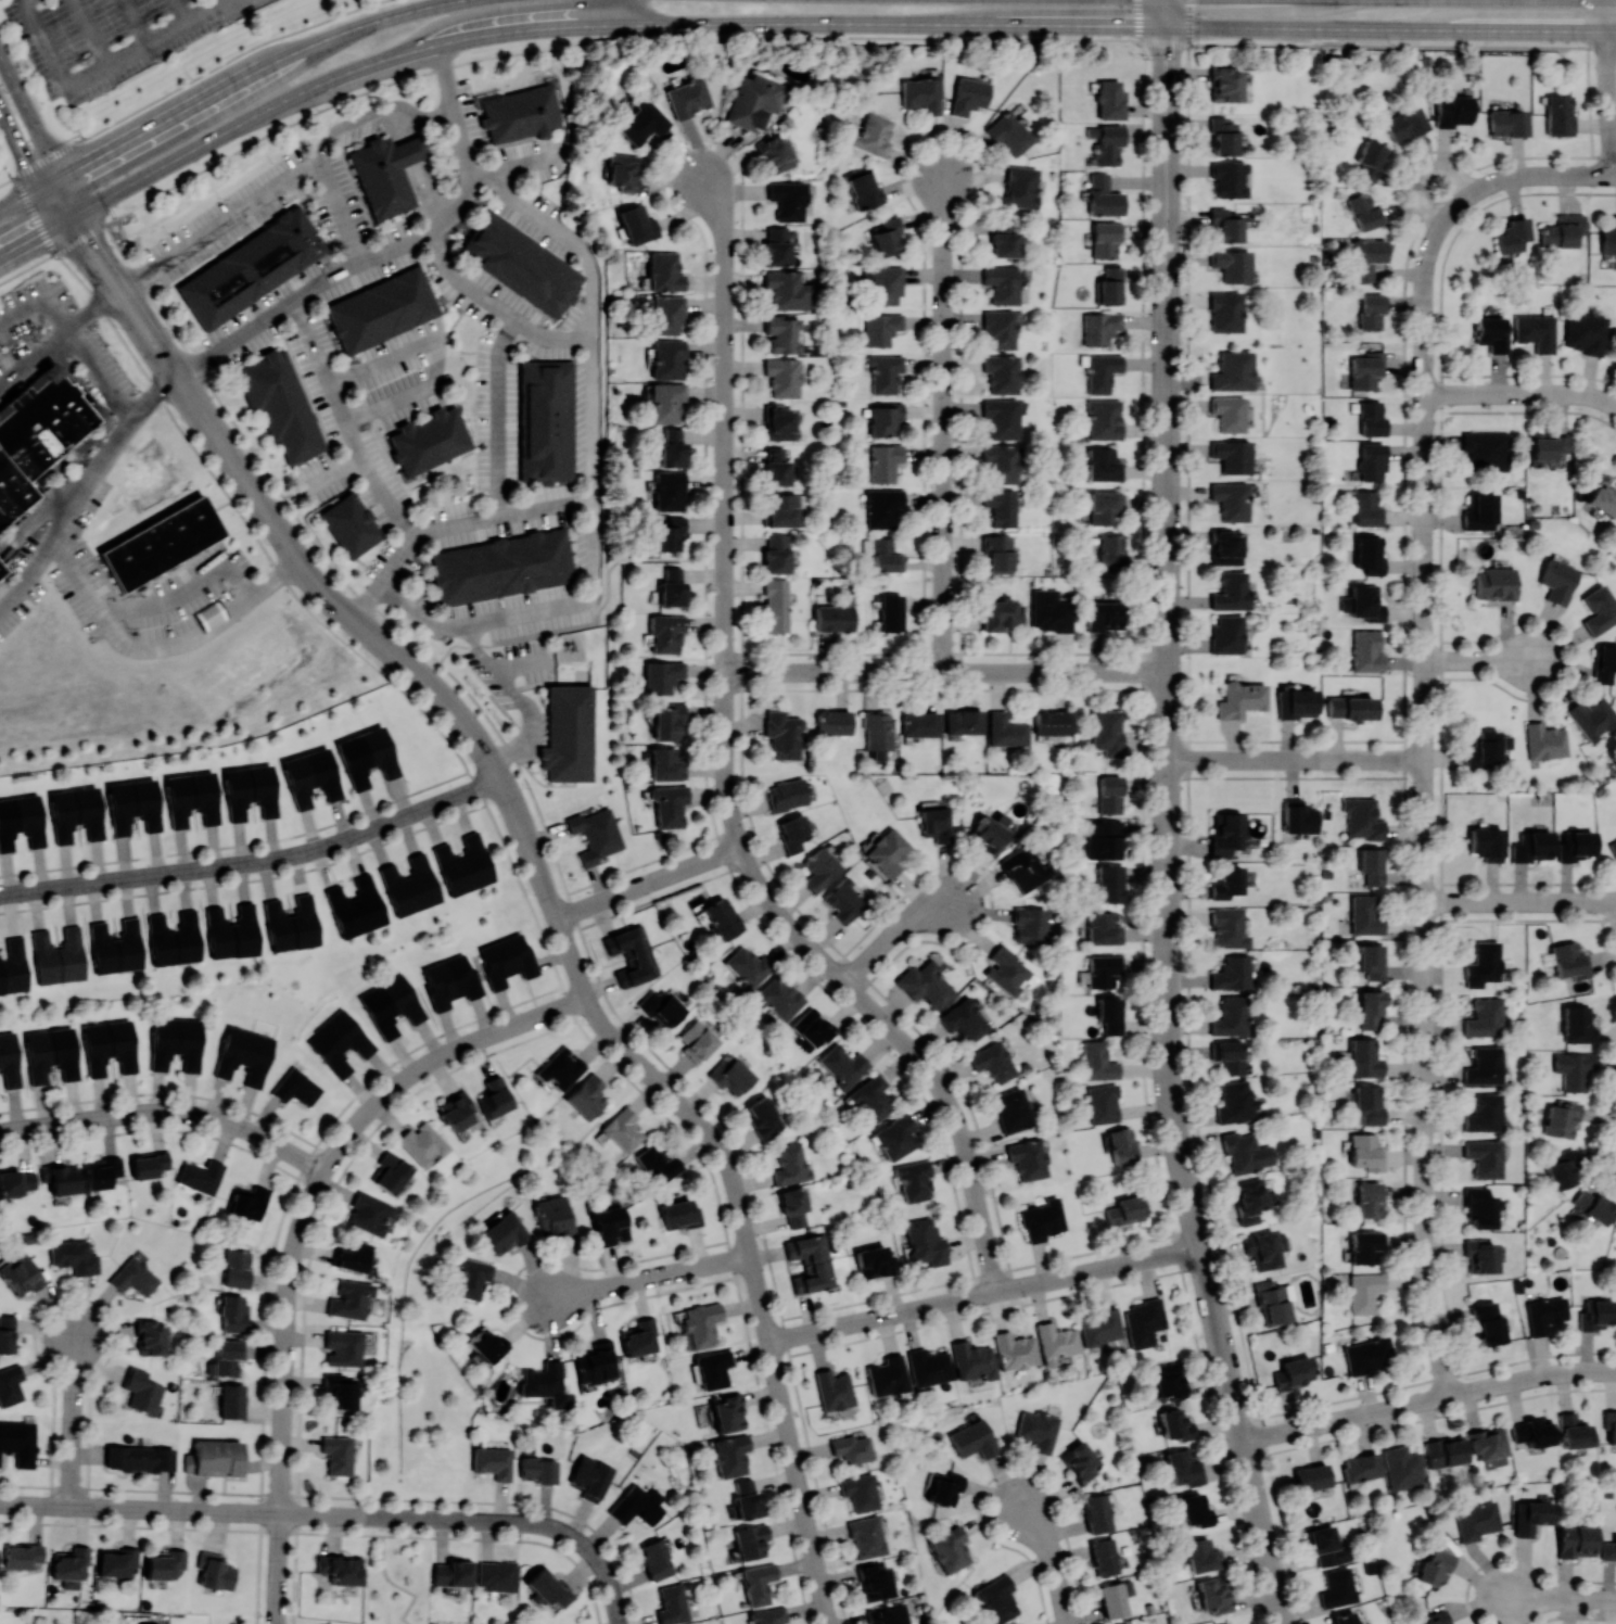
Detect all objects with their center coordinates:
road: (184, 11)
road: (629, 11)
road: (605, 12)
road: (1161, 12)
road: (1169, 12)
road: (1137, 21)
road: (139, 22)
road: (1191, 22)
road: (776, 23)
traffic signals: (1166, 24)
road: (1611, 30)
road: (93, 33)
parking lot: (109, 36)
road: (781, 38)
road: (109, 66)
road: (186, 81)
building: (1225, 84)
road: (1606, 88)
road: (220, 89)
building: (922, 93)
building: (968, 94)
building: (688, 97)
building: (1109, 100)
building: (754, 101)
building: (1453, 110)
building: (525, 114)
building: (1558, 114)
building: (642, 120)
building: (1404, 122)
building: (1507, 122)
road: (39, 134)
building: (874, 134)
building: (1009, 134)
building: (1223, 135)
building: (1106, 143)
road: (21, 149)
building: (775, 154)
building: (1370, 158)
road: (416, 167)
building: (622, 172)
building: (391, 174)
road: (1422, 174)
road: (1614, 176)
traffic signals: (62, 177)
building: (1229, 178)
building: (1020, 186)
traffic signals: (40, 188)
building: (863, 188)
building: (1104, 195)
building: (787, 200)
traffic signals: (80, 212)
building: (1365, 212)
traffic signals: (60, 223)
road: (225, 224)
building: (1227, 224)
building: (637, 225)
building: (1563, 230)
building: (1513, 234)
building: (887, 237)
building: (1003, 238)
building: (1608, 238)
building: (1106, 239)
building: (777, 245)
building: (1366, 257)
building: (1232, 265)
building: (522, 266)
building: (250, 267)
building: (663, 271)
building: (883, 283)
building: (1002, 283)
road: (102, 286)
building: (1111, 286)
building: (786, 290)
road: (132, 291)
building: (384, 310)
building: (1371, 310)
building: (1226, 312)
building: (667, 315)
road: (266, 318)
road: (453, 323)
building: (1100, 327)
building: (881, 328)
building: (998, 329)
building: (1536, 331)
building: (781, 333)
building: (1492, 333)
building: (1586, 333)
road: (76, 334)
road: (723, 342)
road: (55, 346)
building: (669, 358)
road: (431, 365)
building: (1365, 369)
building: (1102, 371)
building: (1233, 371)
building: (885, 372)
building: (1002, 372)
building: (782, 377)
road: (1520, 394)
building: (665, 402)
building: (283, 406)
building: (1230, 413)
road: (1425, 413)
road: (498, 417)
building: (1371, 417)
building: (885, 418)
building: (1002, 418)
building: (1105, 418)
building: (778, 422)
building: (548, 423)
road: (944, 423)
road: (348, 427)
building: (35, 432)
building: (434, 445)
building: (671, 447)
building: (1548, 447)
building: (1486, 449)
building: (1233, 455)
building: (1371, 460)
building: (885, 461)
building: (1001, 462)
building: (1104, 465)
road: (588, 467)
building: (776, 467)
building: (670, 490)
building: (1603, 497)
building: (1231, 499)
building: (1001, 506)
building: (883, 507)
building: (1105, 507)
building: (1366, 508)
building: (781, 509)
building: (1480, 511)
building: (353, 530)
road: (283, 531)
road: (456, 533)
building: (667, 533)
road: (725, 534)
building: (158, 545)
building: (1225, 546)
building: (1112, 553)
building: (776, 554)
building: (883, 554)
building: (997, 554)
building: (1370, 554)
building: (506, 569)
building: (1, 571)
building: (1557, 580)
building: (1494, 583)
building: (672, 587)
building: (1231, 591)
road: (184, 593)
building: (1363, 602)
building: (775, 605)
building: (1599, 609)
building: (1051, 610)
building: (891, 611)
road: (725, 614)
building: (1002, 614)
building: (1105, 614)
building: (834, 617)
road: (593, 624)
building: (665, 633)
building: (1226, 633)
road: (160, 647)
building: (1366, 650)
road: (1475, 659)
building: (1604, 662)
road: (522, 663)
road: (946, 672)
building: (662, 675)
road: (519, 697)
building: (1240, 699)
building: (1296, 702)
building: (1350, 707)
road: (726, 708)
road: (1441, 715)
building: (1592, 718)
road: (461, 720)
building: (965, 721)
building: (669, 722)
building: (832, 722)
building: (1052, 722)
building: (920, 723)
building: (878, 729)
building: (1006, 729)
building: (569, 733)
building: (1111, 733)
building: (784, 734)
road: (1167, 735)
building: (1544, 740)
building: (1485, 749)
building: (367, 756)
road: (726, 758)
road: (1296, 760)
building: (665, 764)
building: (310, 776)
building: (250, 790)
building: (787, 794)
building: (1110, 795)
building: (191, 798)
road: (510, 799)
building: (133, 804)
building: (669, 804)
building: (75, 813)
building: (1298, 816)
building: (1362, 817)
road: (1425, 817)
building: (21, 821)
building: (933, 824)
building: (792, 833)
building: (990, 833)
building: (595, 834)
building: (1225, 835)
building: (1104, 839)
building: (1486, 842)
building: (1575, 845)
building: (1531, 846)
building: (1613, 846)
building: (888, 851)
road: (533, 859)
road: (267, 861)
building: (463, 864)
building: (1372, 865)
road: (692, 866)
building: (820, 868)
building: (1025, 868)
building: (1226, 881)
building: (1110, 883)
building: (410, 885)
road: (10, 893)
building: (844, 900)
road: (599, 902)
road: (1520, 902)
building: (356, 906)
road: (551, 909)
building: (1365, 914)
building: (722, 917)
building: (291, 923)
building: (1029, 924)
building: (1105, 927)
building: (1227, 927)
road: (892, 930)
building: (232, 931)
building: (175, 938)
building: (117, 946)
building: (632, 954)
building: (59, 955)
road: (570, 959)
building: (505, 960)
building: (1372, 960)
building: (1569, 960)
building: (1481, 964)
building: (13, 966)
building: (747, 966)
building: (1006, 969)
building: (1104, 969)
building: (1232, 972)
building: (449, 980)
building: (926, 984)
building: (777, 998)
building: (391, 1004)
building: (662, 1006)
building: (1371, 1007)
building: (1109, 1014)
building: (1231, 1016)
building: (1484, 1017)
road: (882, 1019)
building: (964, 1019)
building: (1578, 1023)
building: (811, 1028)
building: (698, 1040)
building: (176, 1042)
building: (340, 1043)
building: (109, 1045)
building: (51, 1053)
building: (244, 1054)
building: (1229, 1055)
building: (1362, 1057)
building: (9, 1060)
road: (437, 1060)
building: (992, 1061)
building: (1097, 1061)
building: (842, 1065)
building: (1484, 1065)
road: (1426, 1066)
building: (560, 1068)
building: (1574, 1068)
building: (731, 1074)
building: (296, 1087)
building: (494, 1096)
building: (586, 1096)
building: (873, 1098)
building: (1236, 1102)
building: (1103, 1103)
building: (1369, 1103)
building: (1011, 1109)
building: (456, 1111)
building: (1484, 1113)
road: (122, 1116)
building: (764, 1117)
building: (1562, 1118)
building: (623, 1129)
building: (896, 1137)
building: (422, 1143)
building: (1121, 1145)
road: (283, 1149)
building: (1246, 1152)
building: (1366, 1152)
building: (1484, 1157)
building: (1028, 1158)
building: (149, 1164)
road: (727, 1164)
building: (791, 1164)
building: (658, 1165)
building: (1563, 1169)
building: (103, 1172)
building: (390, 1172)
building: (200, 1175)
building: (61, 1178)
building: (914, 1179)
building: (16, 1181)
building: (1249, 1200)
building: (1369, 1200)
building: (247, 1202)
building: (793, 1206)
building: (1593, 1206)
building: (1479, 1208)
building: (1123, 1209)
building: (369, 1213)
building: (552, 1214)
building: (679, 1214)
building: (1042, 1219)
building: (609, 1225)
building: (504, 1232)
building: (926, 1241)
building: (1366, 1245)
building: (1264, 1248)
building: (1479, 1255)
building: (74, 1256)
building: (352, 1256)
building: (874, 1260)
building: (811, 1261)
building: (237, 1268)
building: (20, 1273)
building: (133, 1277)
building: (471, 1278)
road: (648, 1279)
road: (1056, 1279)
road: (289, 1290)
building: (1364, 1291)
road: (1428, 1296)
building: (349, 1298)
building: (1272, 1302)
road: (903, 1311)
building: (233, 1312)
building: (1544, 1314)
building: (1595, 1314)
building: (1144, 1321)
building: (1487, 1322)
building: (701, 1323)
building: (1100, 1325)
road: (832, 1328)
building: (7, 1333)
building: (151, 1336)
building: (638, 1336)
building: (1056, 1341)
building: (486, 1343)
building: (343, 1347)
building: (1015, 1350)
road: (1439, 1352)
building: (1367, 1355)
building: (225, 1358)
road: (1538, 1358)
building: (972, 1360)
building: (595, 1362)
building: (928, 1367)
building: (713, 1368)
building: (1294, 1372)
building: (887, 1375)
building: (1168, 1381)
building: (544, 1383)
building: (11, 1384)
building: (834, 1388)
building: (340, 1390)
building: (142, 1391)
road: (1472, 1391)
road: (1349, 1397)
building: (231, 1400)
road: (784, 1409)
building: (727, 1412)
road: (73, 1418)
road: (283, 1419)
road: (1325, 1423)
building: (1175, 1424)
building: (1609, 1425)
building: (1038, 1430)
building: (1574, 1431)
road: (1281, 1432)
building: (1531, 1432)
building: (972, 1438)
building: (18, 1441)
building: (1488, 1443)
building: (852, 1448)
building: (1445, 1450)
building: (338, 1454)
building: (729, 1455)
building: (139, 1457)
building: (217, 1458)
building: (493, 1461)
building: (1081, 1461)
building: (1184, 1467)
building: (1361, 1467)
road: (281, 1468)
building: (1402, 1468)
building: (537, 1469)
building: (590, 1476)
building: (1311, 1476)
building: (944, 1487)
building: (860, 1492)
road: (353, 1497)
building: (746, 1498)
building: (638, 1505)
road: (86, 1507)
building: (1195, 1509)
road: (226, 1511)
building: (1097, 1512)
road: (322, 1514)
building: (1531, 1515)
road: (398, 1518)
road: (451, 1520)
building: (1476, 1520)
road: (510, 1522)
road: (325, 1532)
road: (809, 1532)
road: (1261, 1532)
building: (866, 1536)
building: (1576, 1540)
building: (751, 1541)
building: (1326, 1546)
building: (950, 1548)
building: (1608, 1549)
building: (1201, 1555)
building: (23, 1556)
building: (1104, 1556)
building: (656, 1559)
building: (116, 1560)
road: (1053, 1560)
road: (600, 1562)
building: (164, 1563)
building: (69, 1565)
building: (1434, 1565)
road: (278, 1569)
building: (340, 1569)
building: (214, 1571)
building: (451, 1572)
building: (497, 1575)
park: (395, 1576)
building: (874, 1582)
building: (758, 1583)
road: (396, 1584)
building: (548, 1586)
building: (1337, 1587)
building: (1213, 1594)
road: (1560, 1598)
building: (997, 1599)
building: (1114, 1599)
building: (672, 1603)
building: (888, 1614)
building: (768, 1615)
building: (1344, 1619)
building: (1435, 1619)
building: (1130, 1623)

